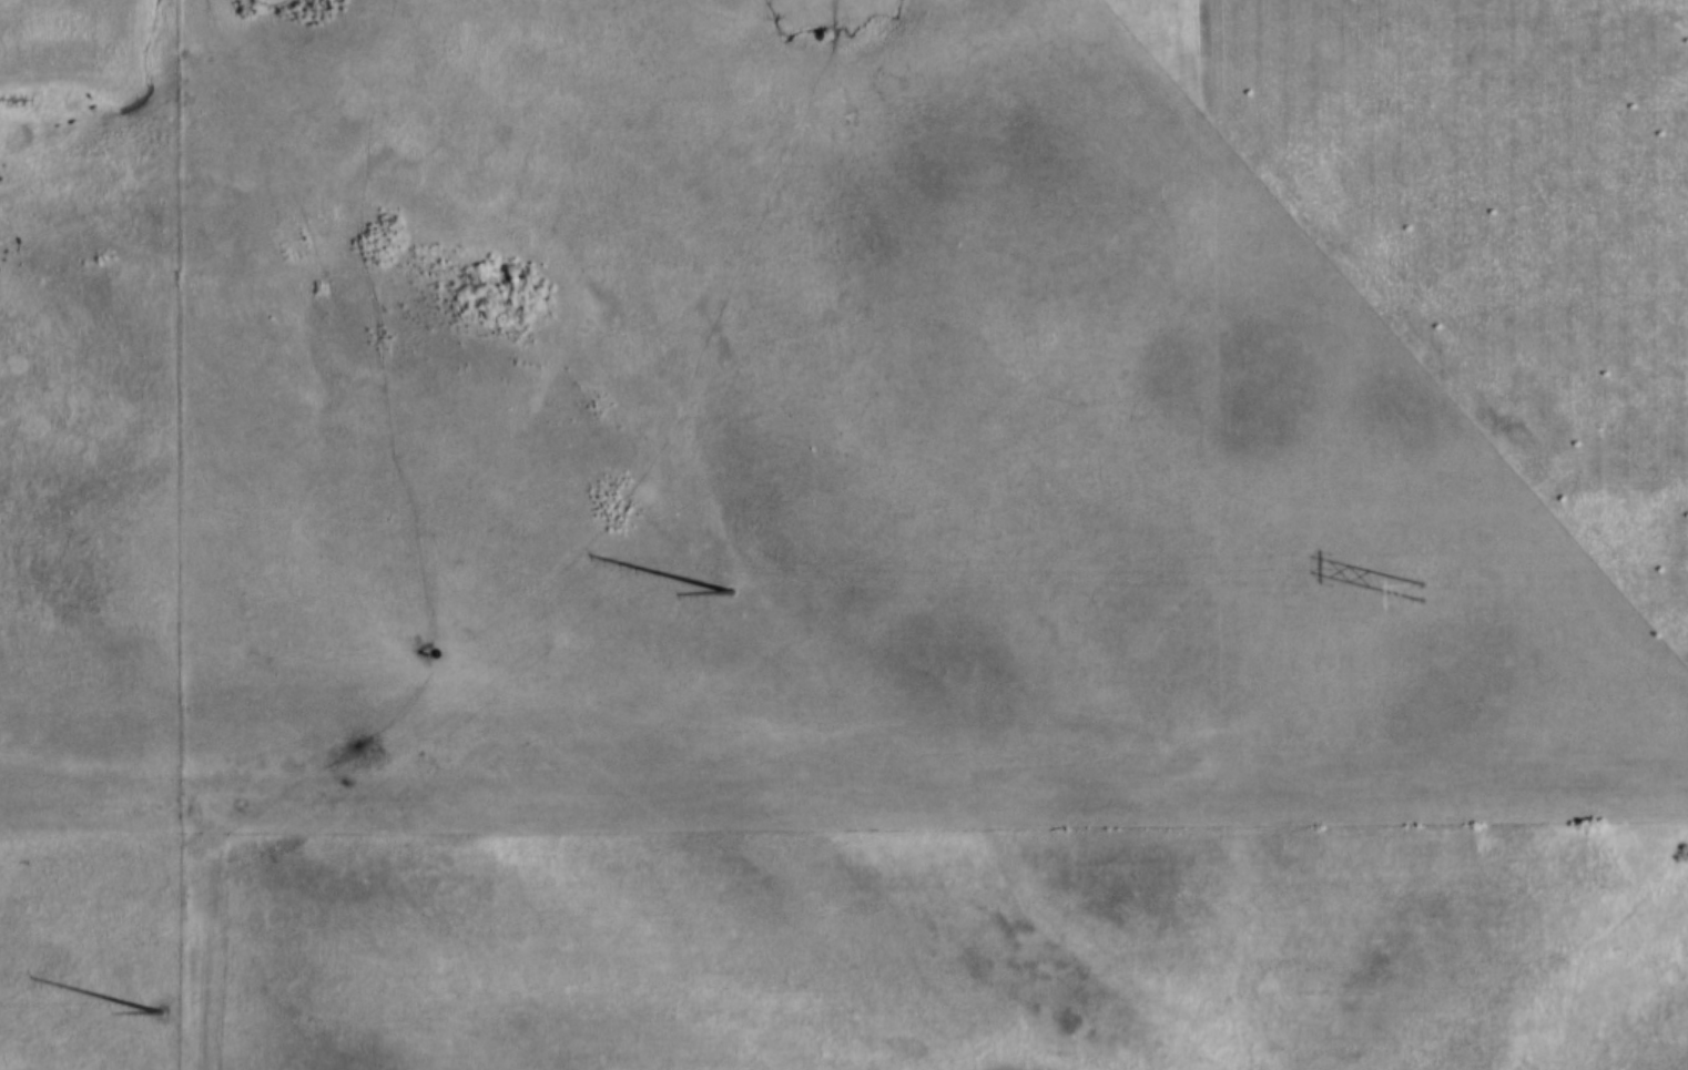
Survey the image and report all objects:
power tower: (729, 594)
power tower: (1417, 594)
road: (843, 804)
power tower: (154, 1013)

